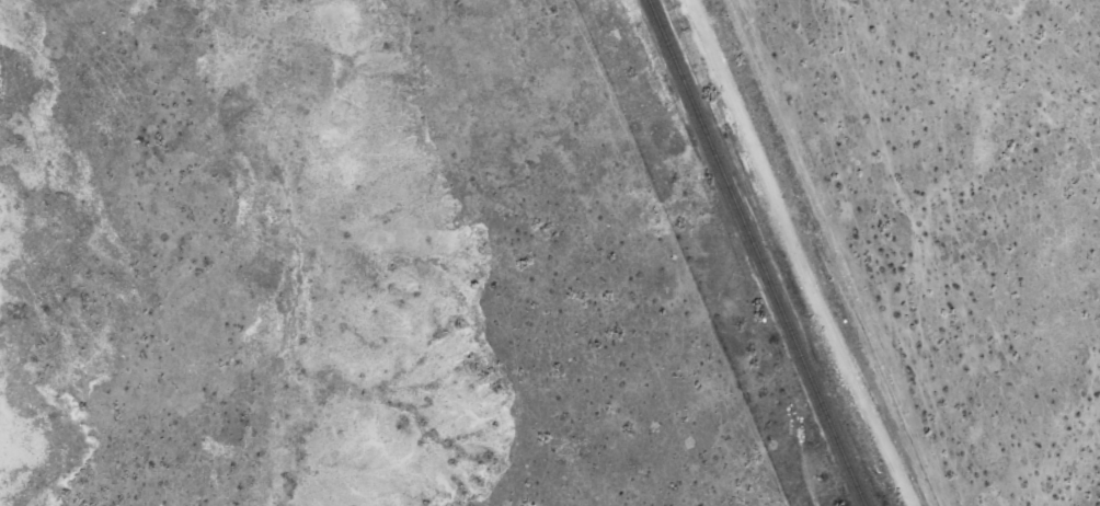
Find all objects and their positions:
railway: (752, 252)

